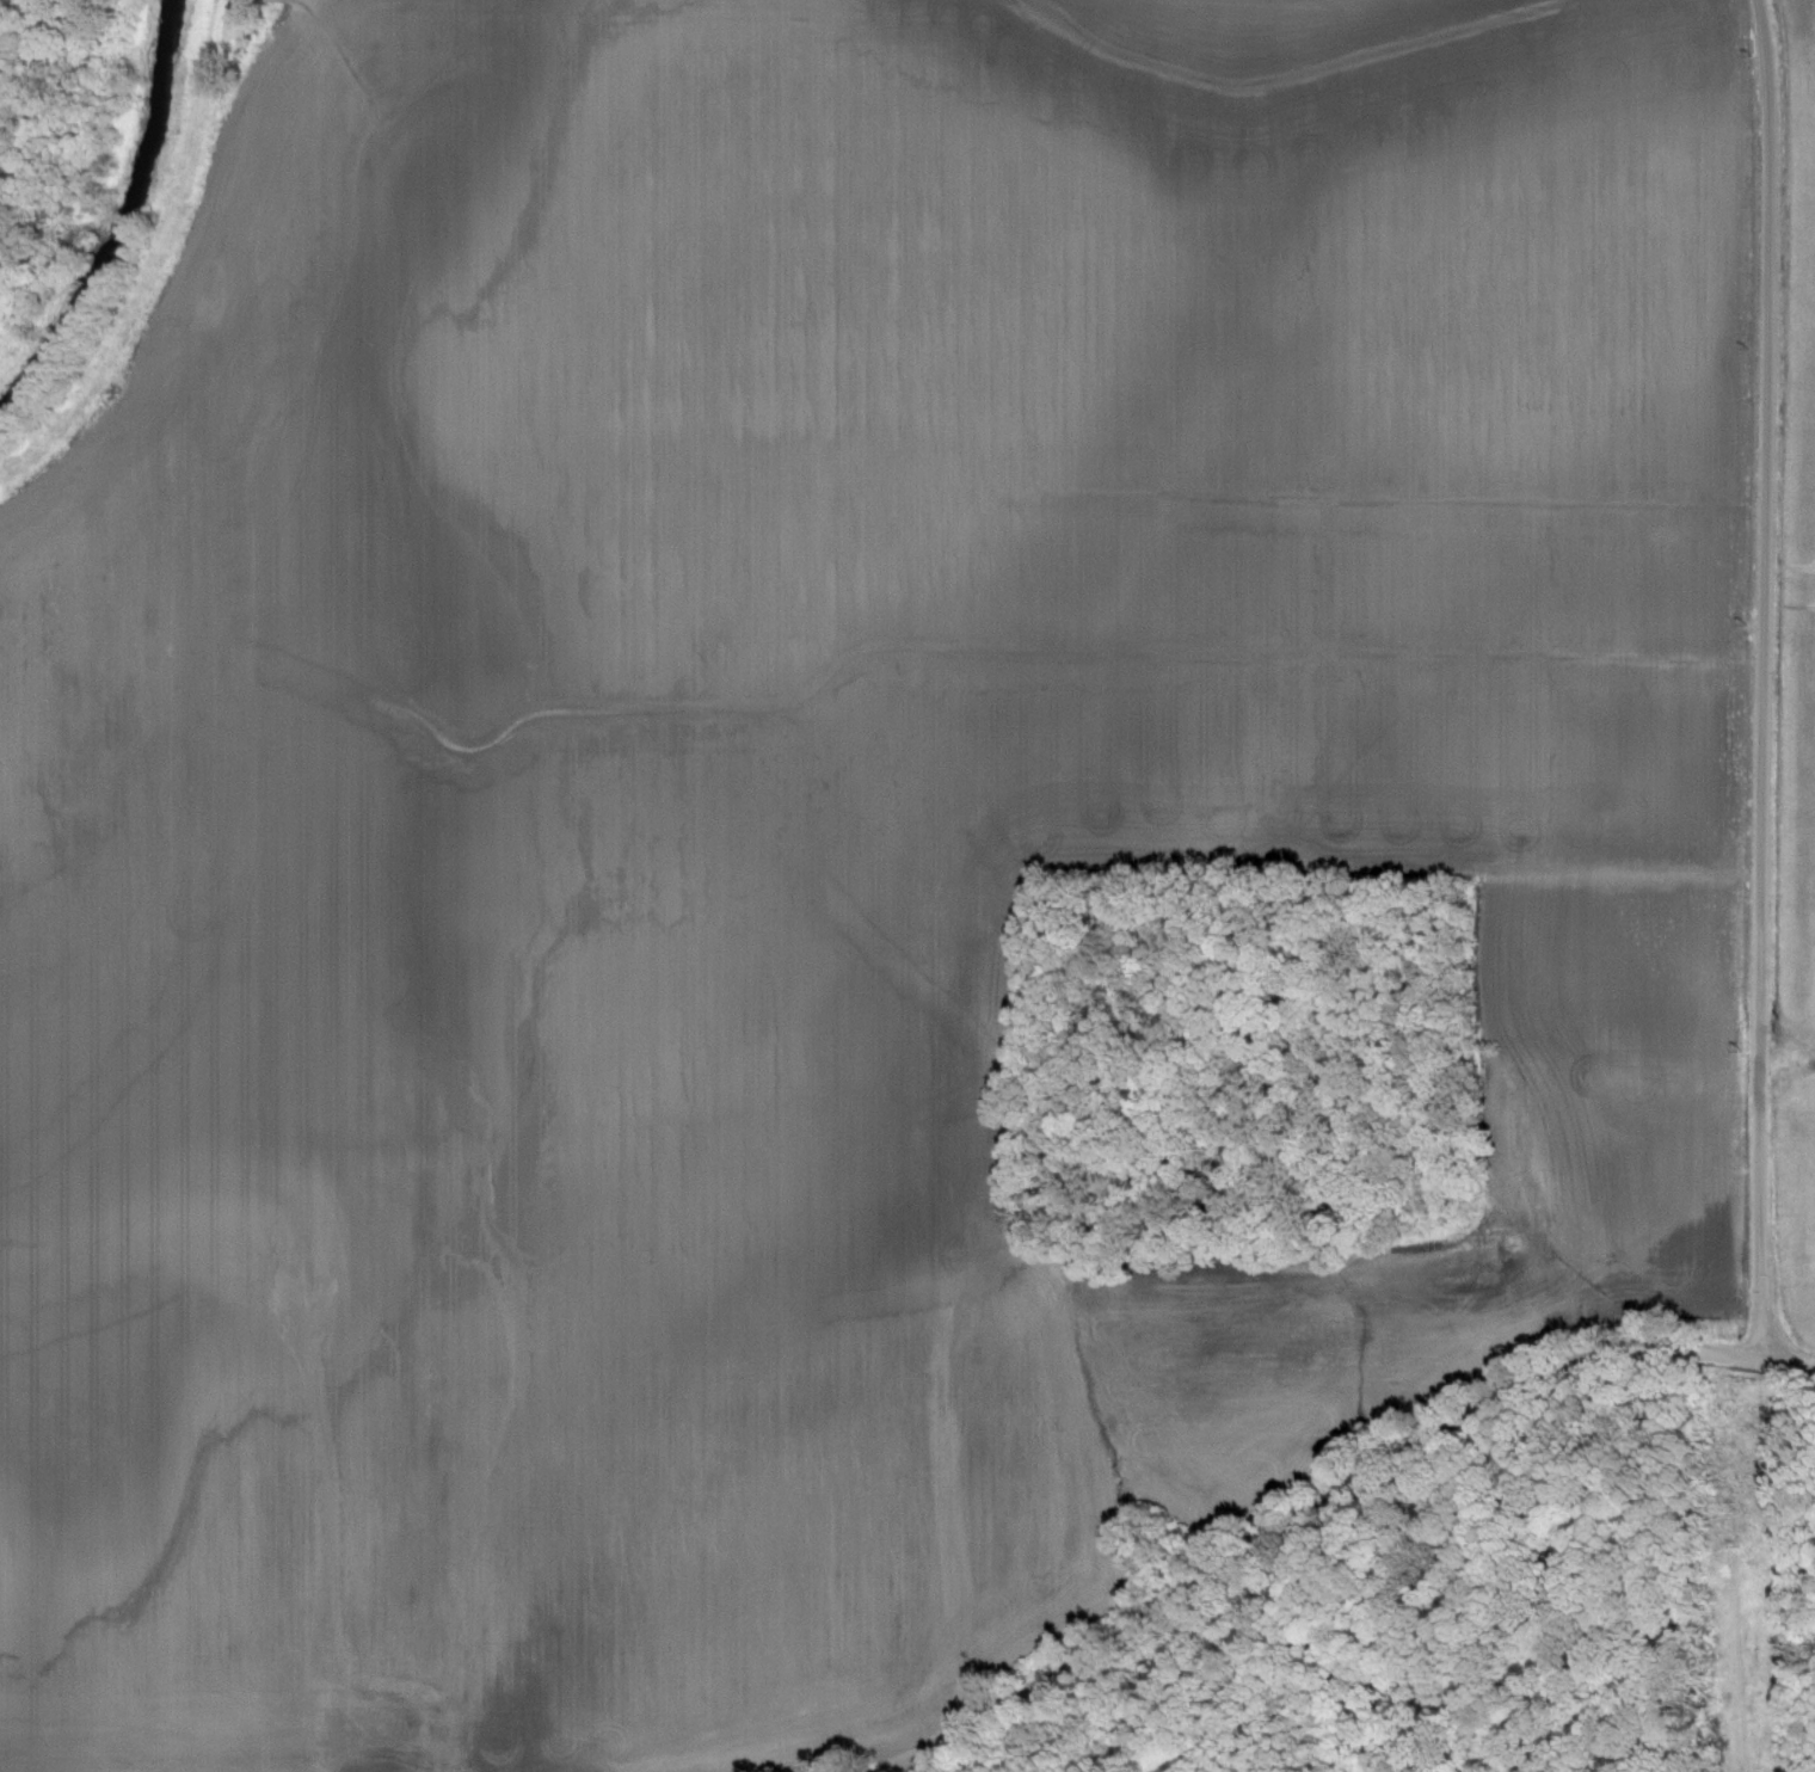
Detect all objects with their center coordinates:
river: (130, 227)
road: (1772, 682)
road: (1796, 1368)
road: (1312, 1514)

